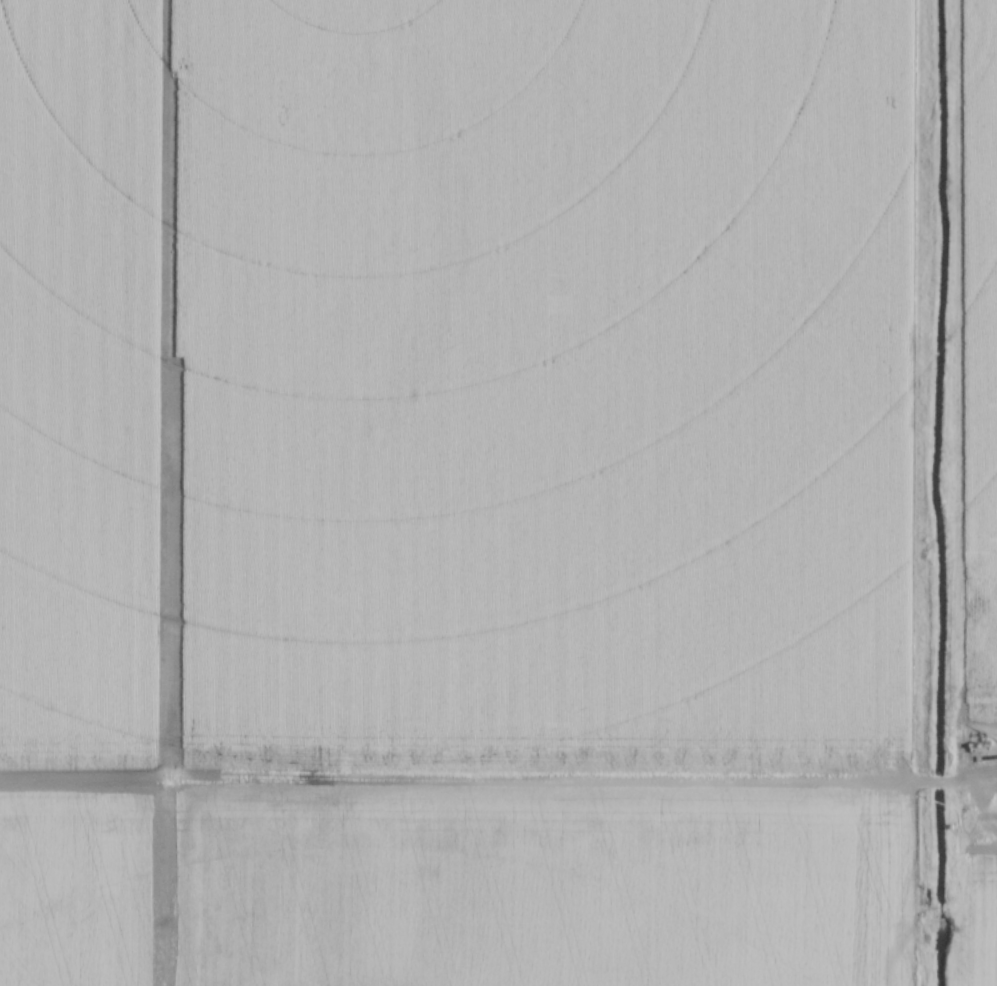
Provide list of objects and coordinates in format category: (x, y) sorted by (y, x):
crop: (975, 347)
crop: (458, 492)
road: (498, 778)
crop: (982, 915)

